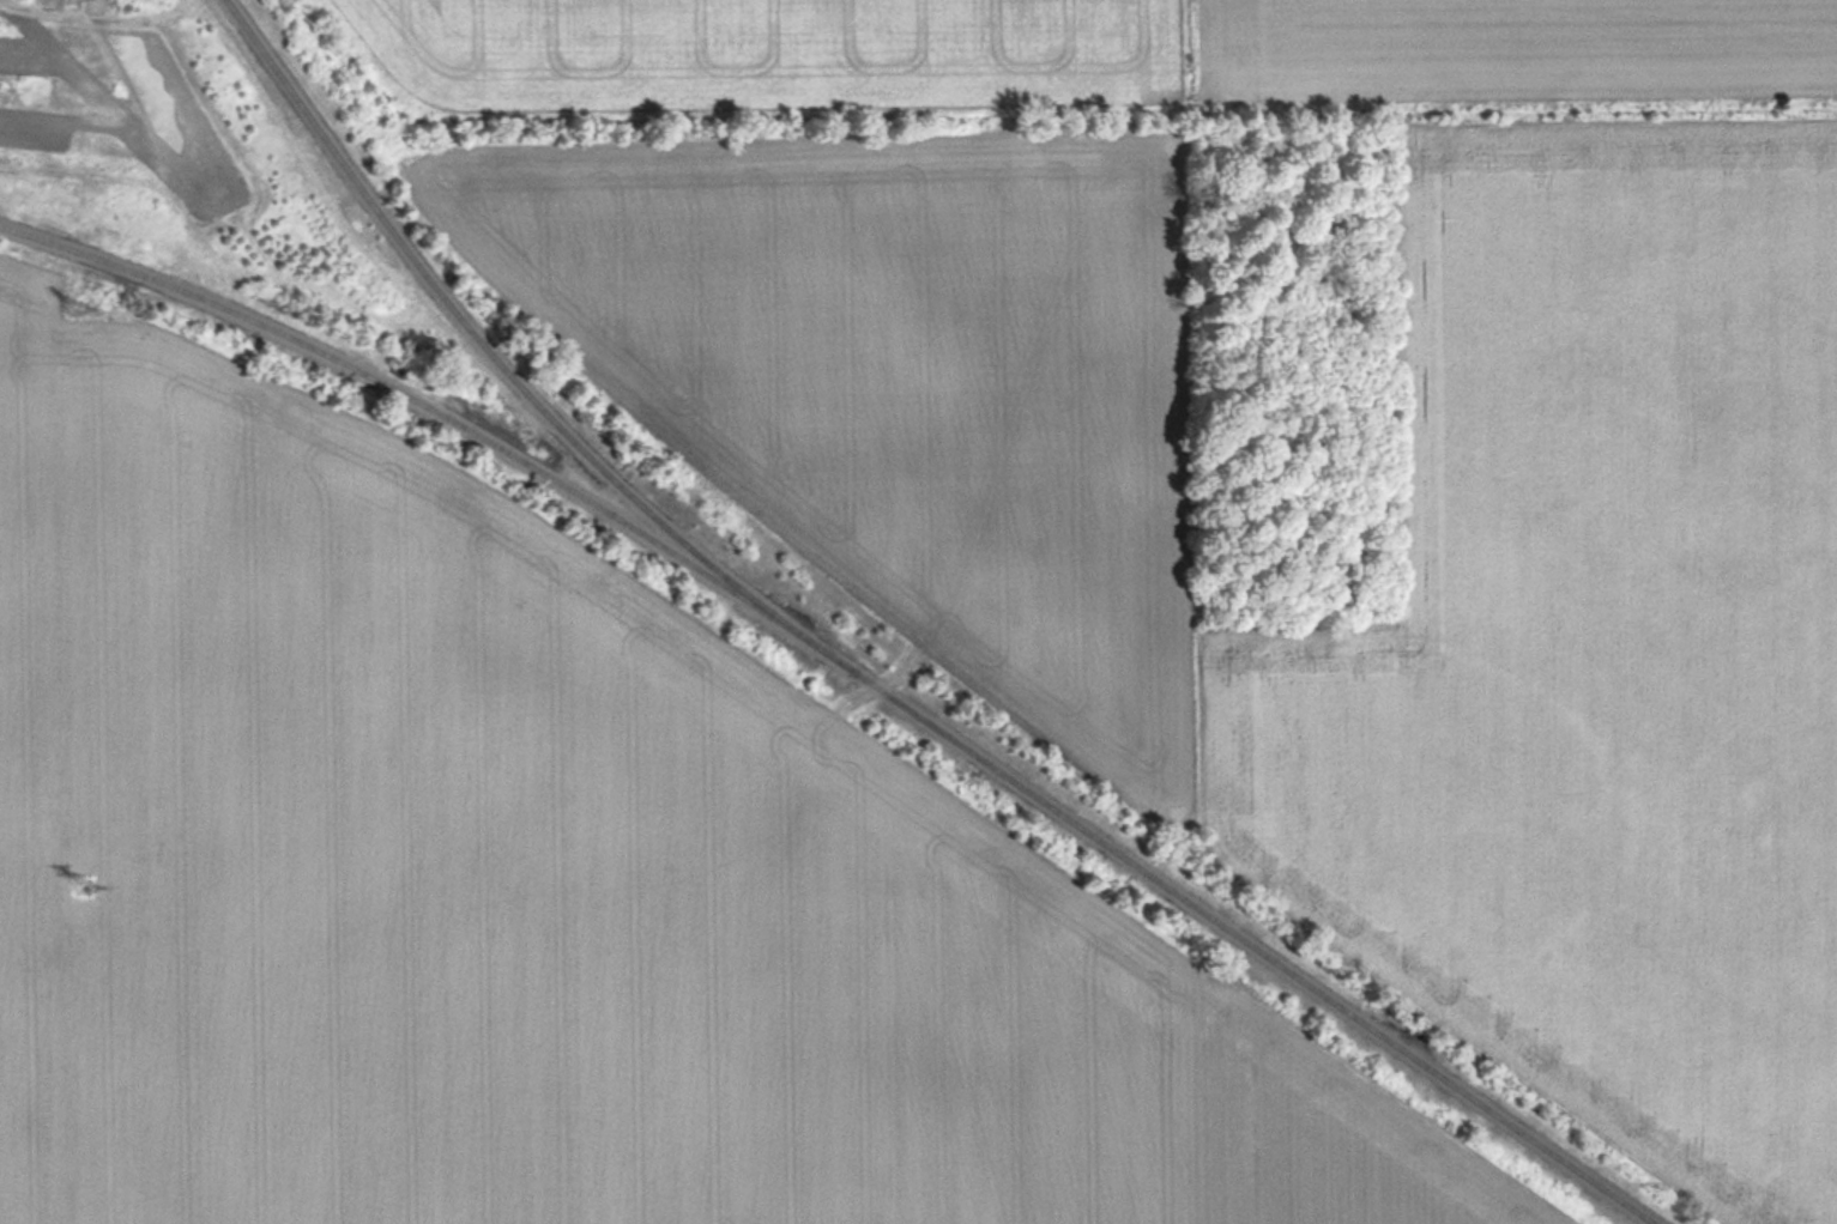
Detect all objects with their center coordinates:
power tower: (78, 311)
railway: (482, 339)
railway: (411, 399)
power tower: (86, 893)
railway: (1223, 926)

